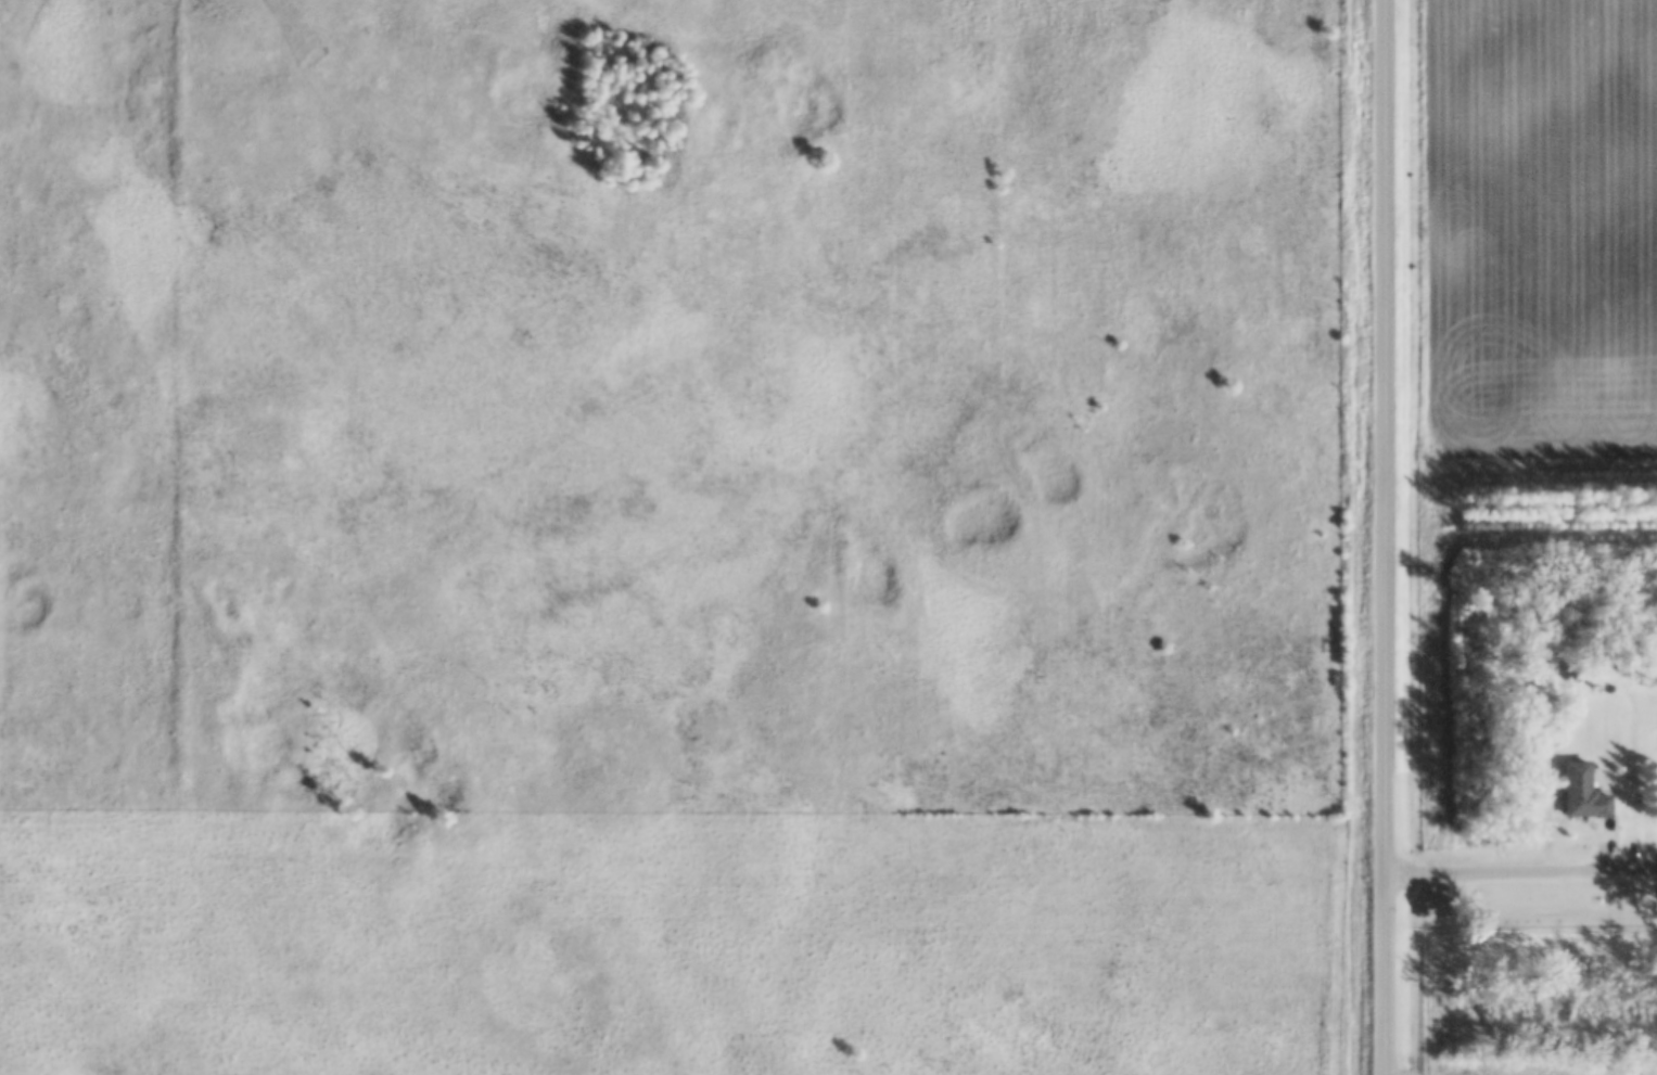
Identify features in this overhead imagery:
road: (1387, 537)
building: (1581, 802)
road: (1521, 879)

